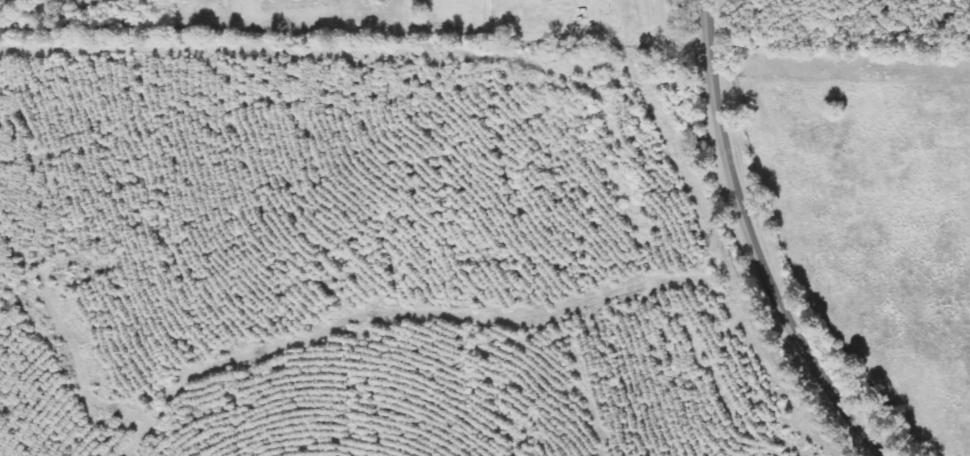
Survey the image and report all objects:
road: (752, 244)

